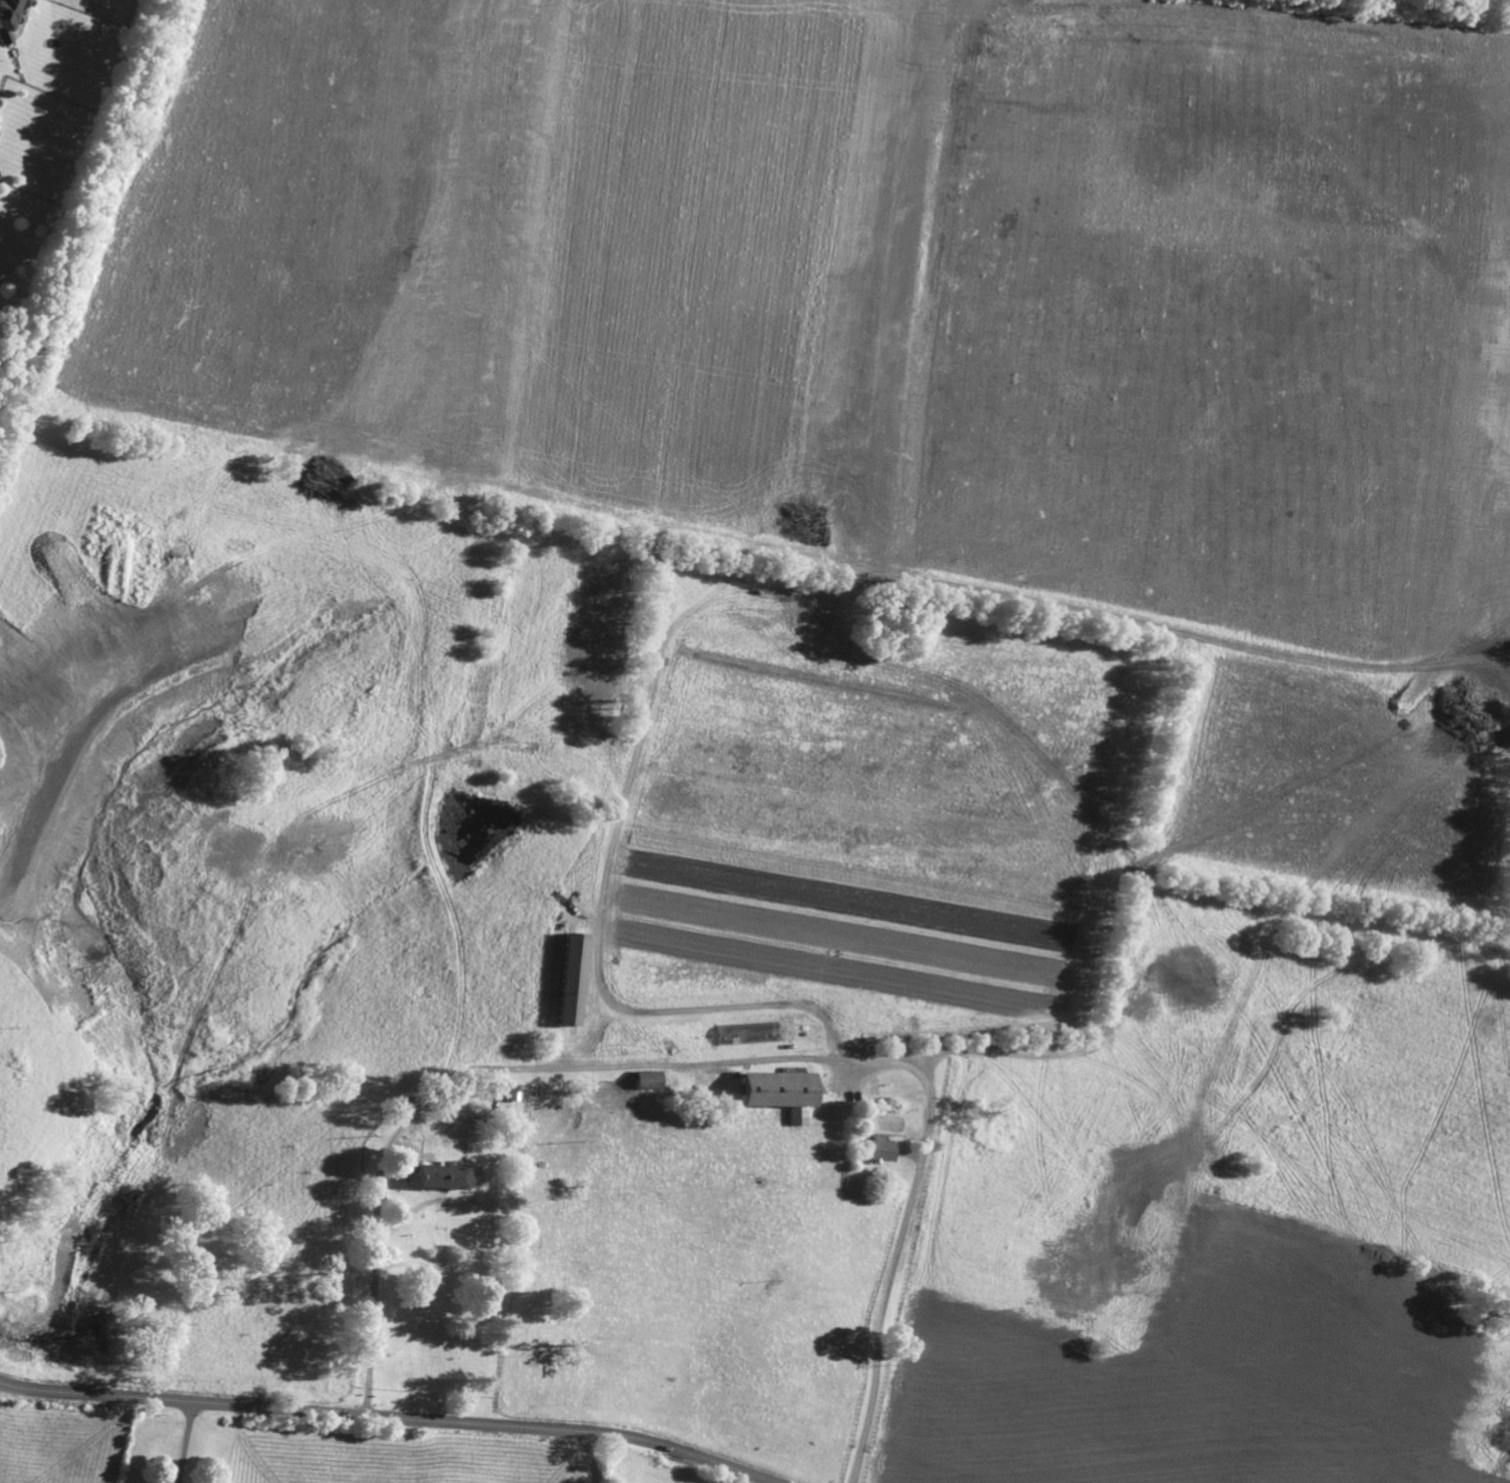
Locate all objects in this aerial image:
building: (11, 17)
building: (0, 103)
building: (566, 1021)
road: (696, 1064)
road: (905, 1068)
building: (646, 1080)
building: (502, 1090)
building: (775, 1093)
building: (877, 1150)
building: (438, 1177)
road: (387, 1185)
road: (388, 1418)
road: (185, 1443)
road: (590, 1458)

